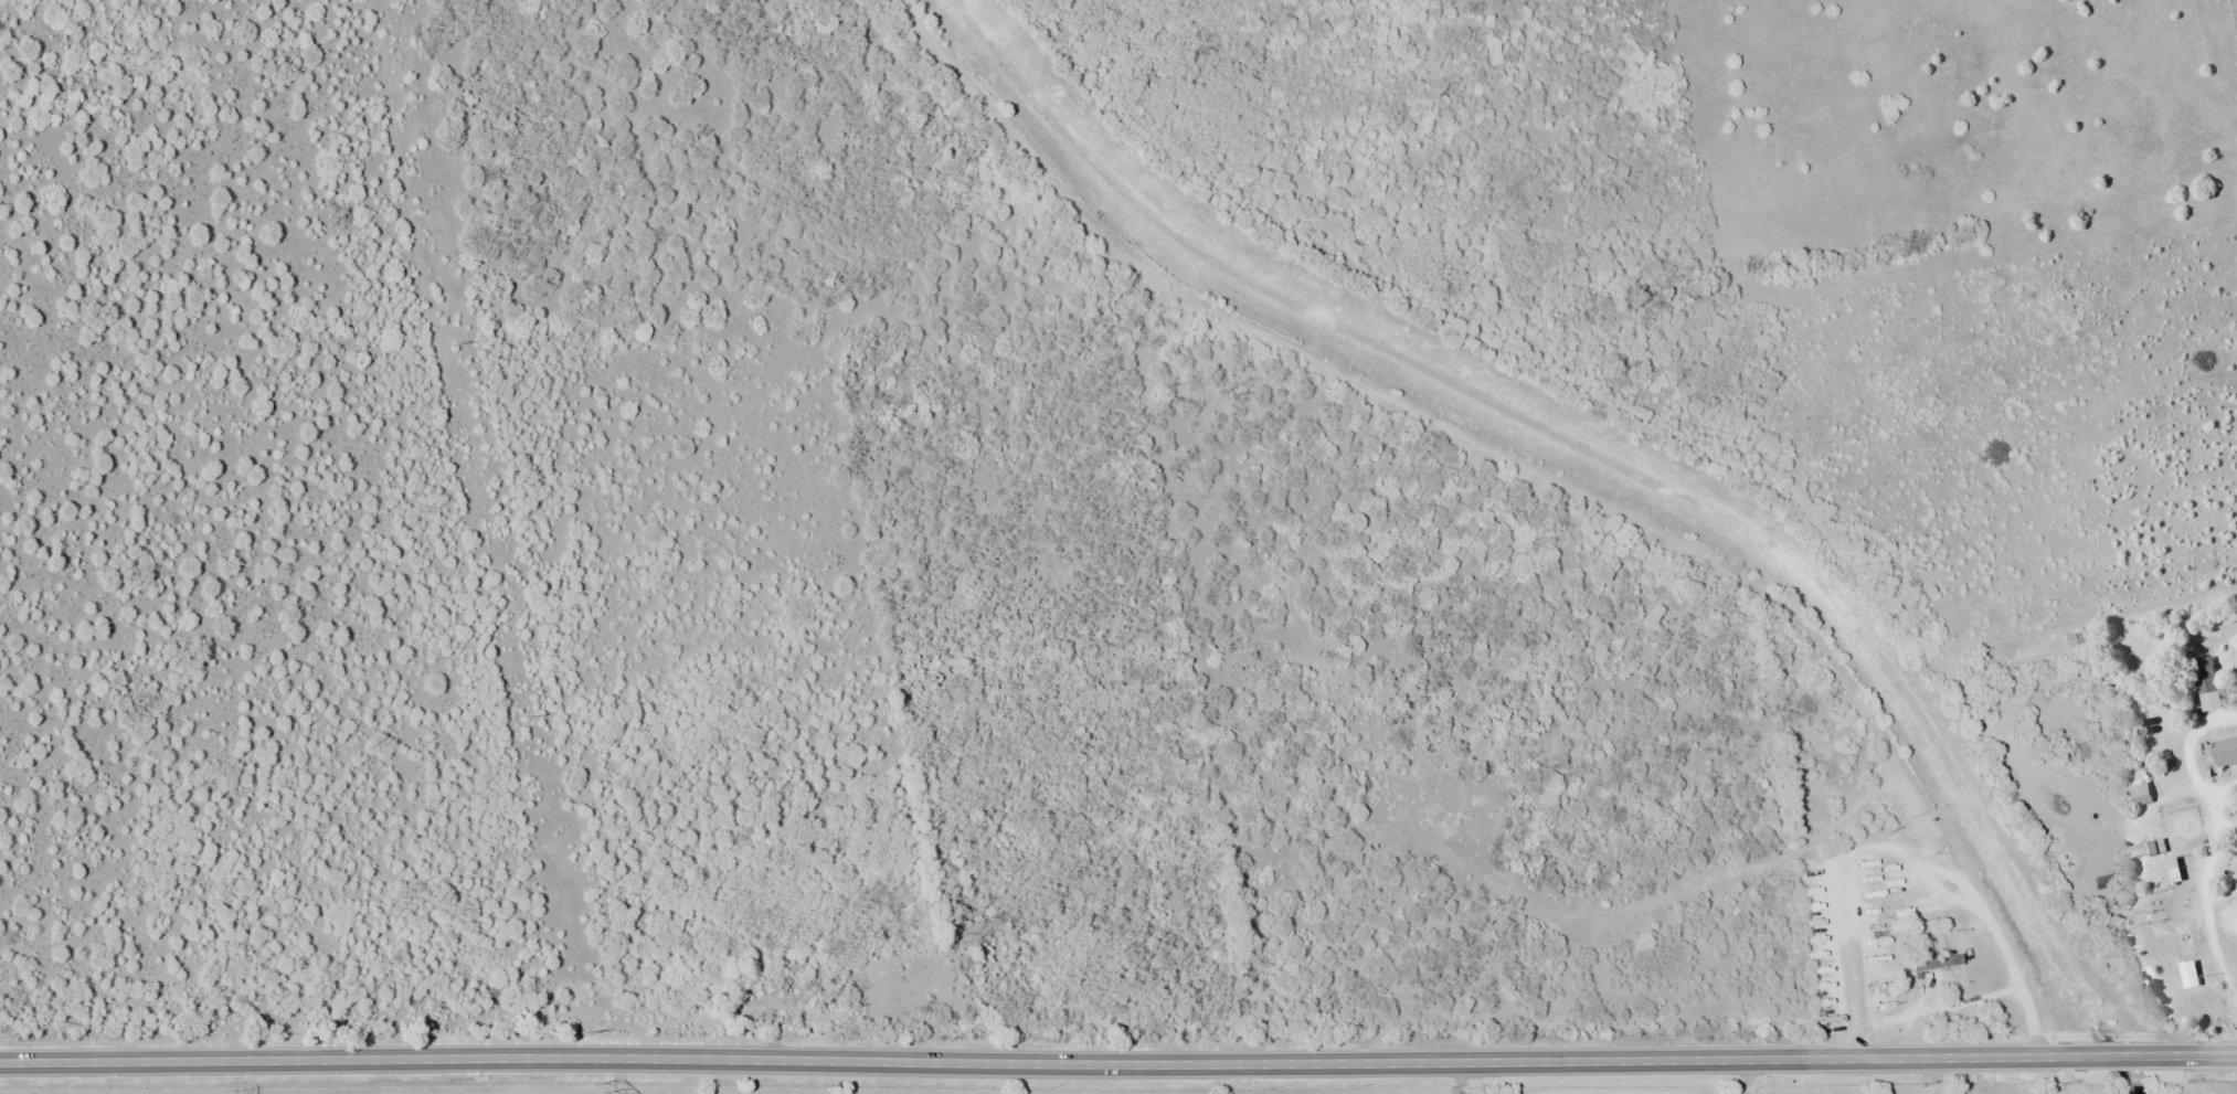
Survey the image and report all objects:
power tower: (455, 347)
building: (2209, 682)
power tower: (528, 716)
building: (2227, 751)
building: (2140, 794)
building: (2176, 869)
building: (1925, 964)
road: (1118, 1060)
power tower: (229, 1093)

